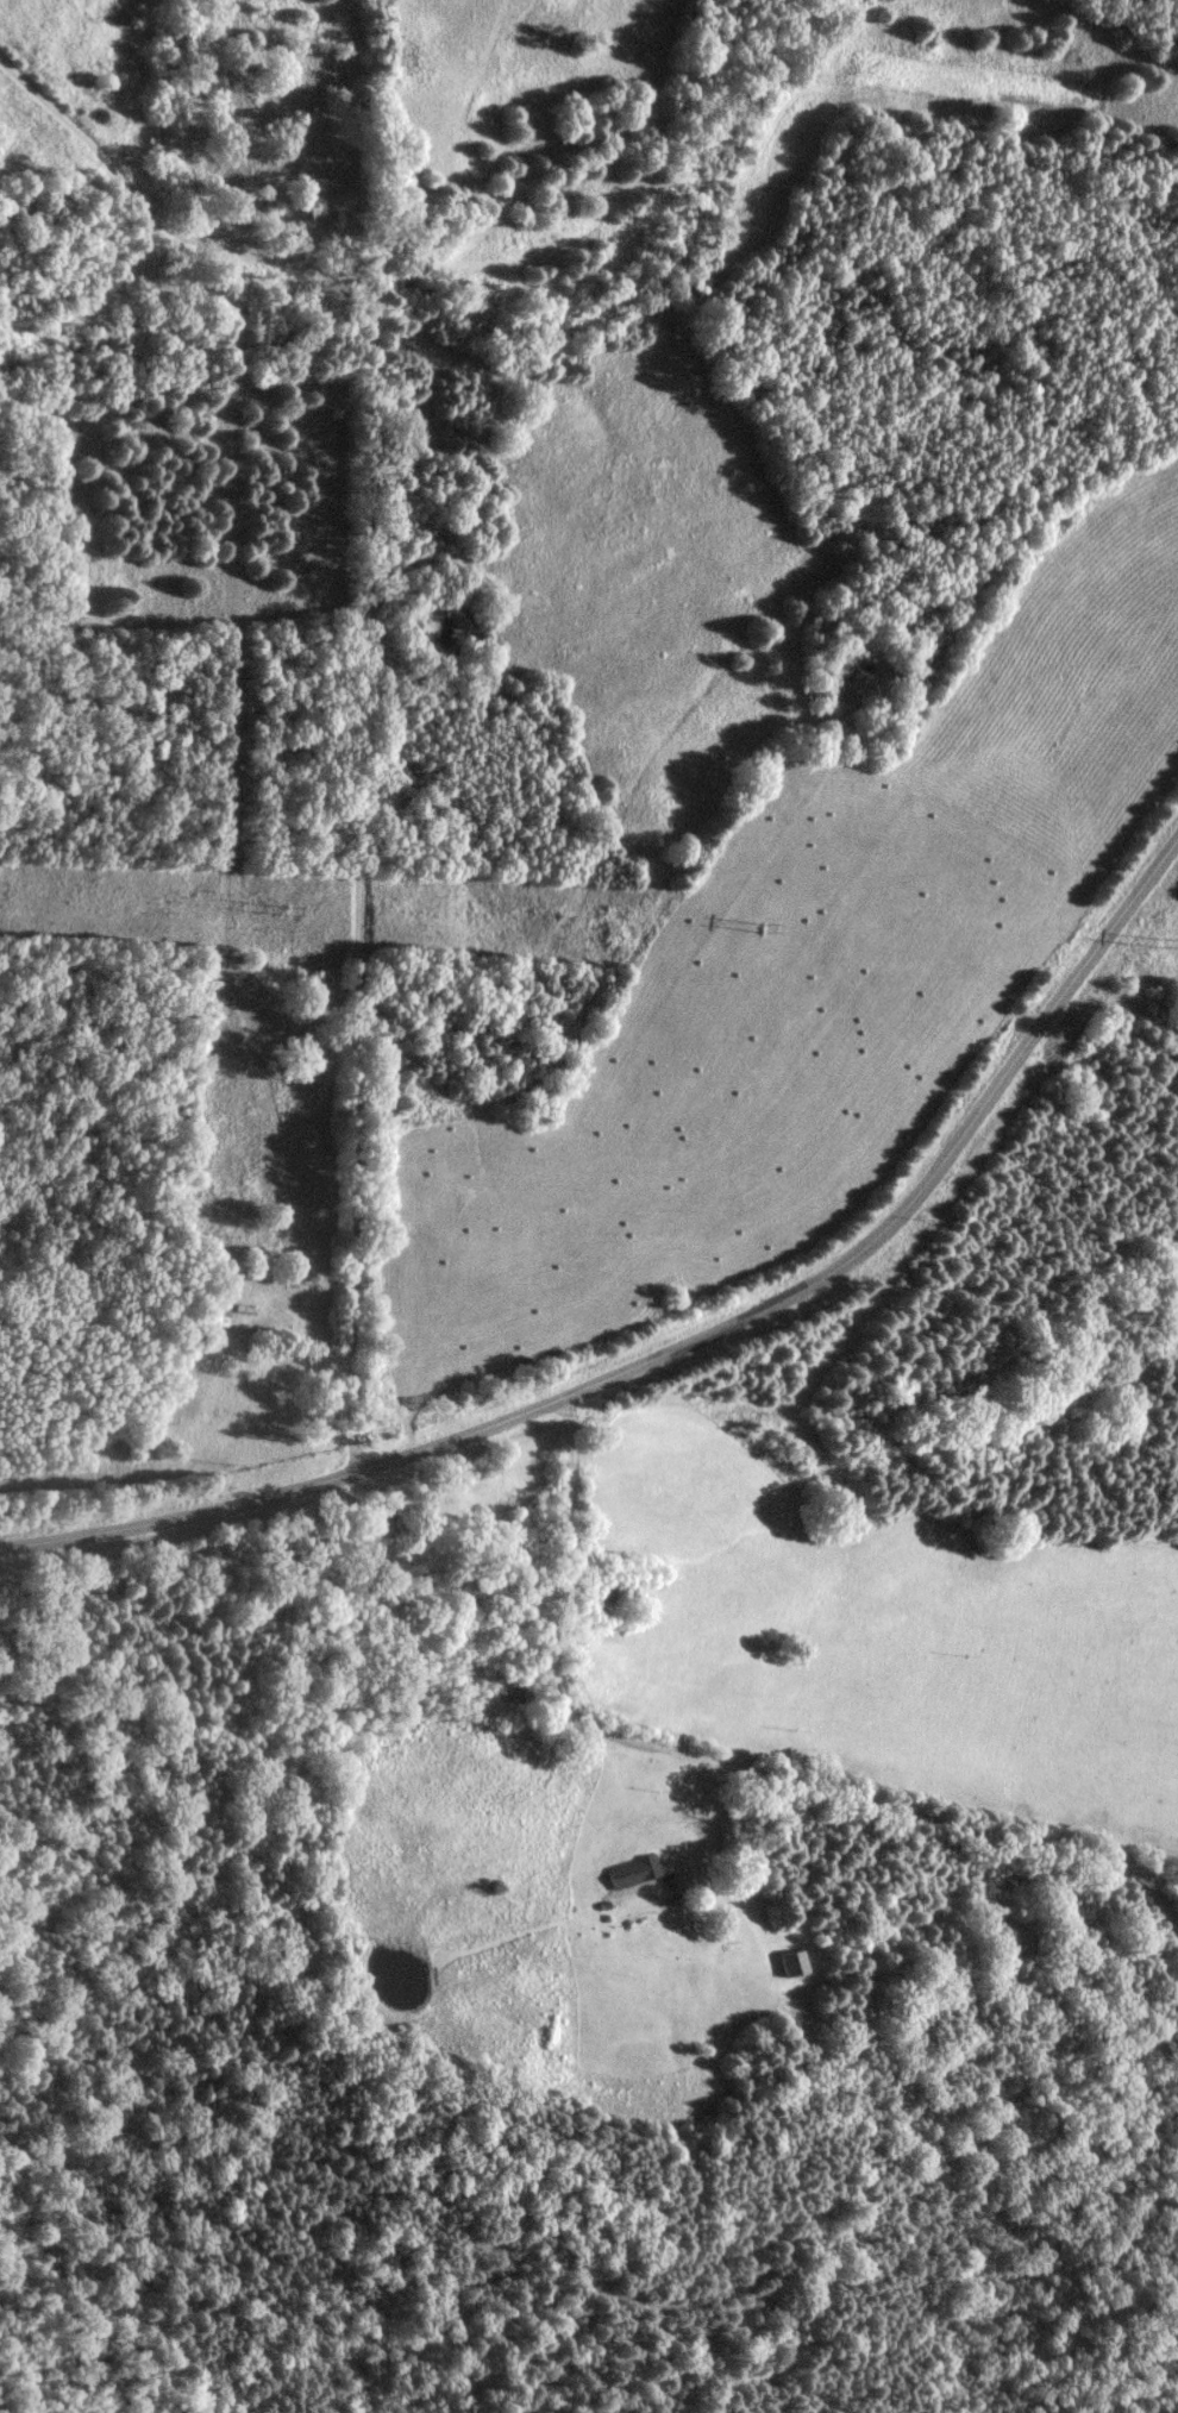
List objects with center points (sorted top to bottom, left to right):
road: (689, 1342)
road: (683, 1781)
building: (632, 1872)
building: (790, 1963)

